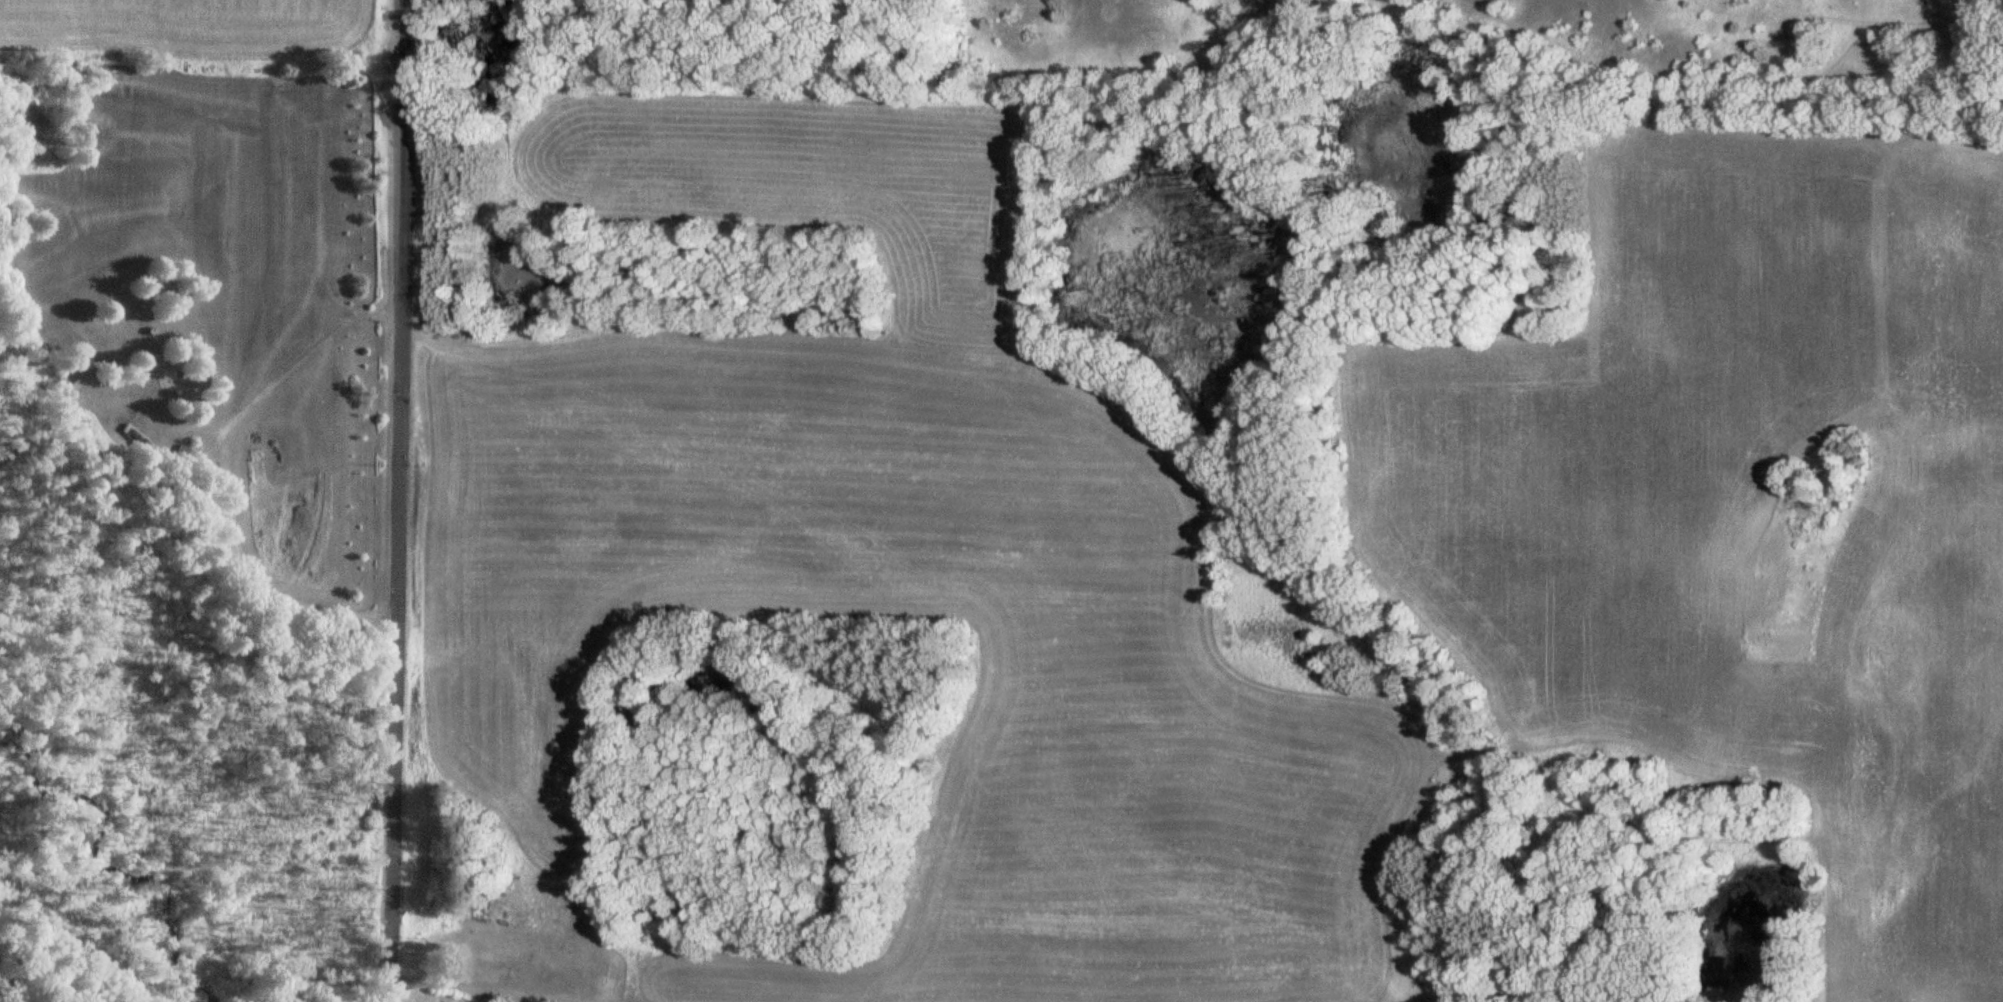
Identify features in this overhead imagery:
road: (401, 501)
road: (446, 982)

